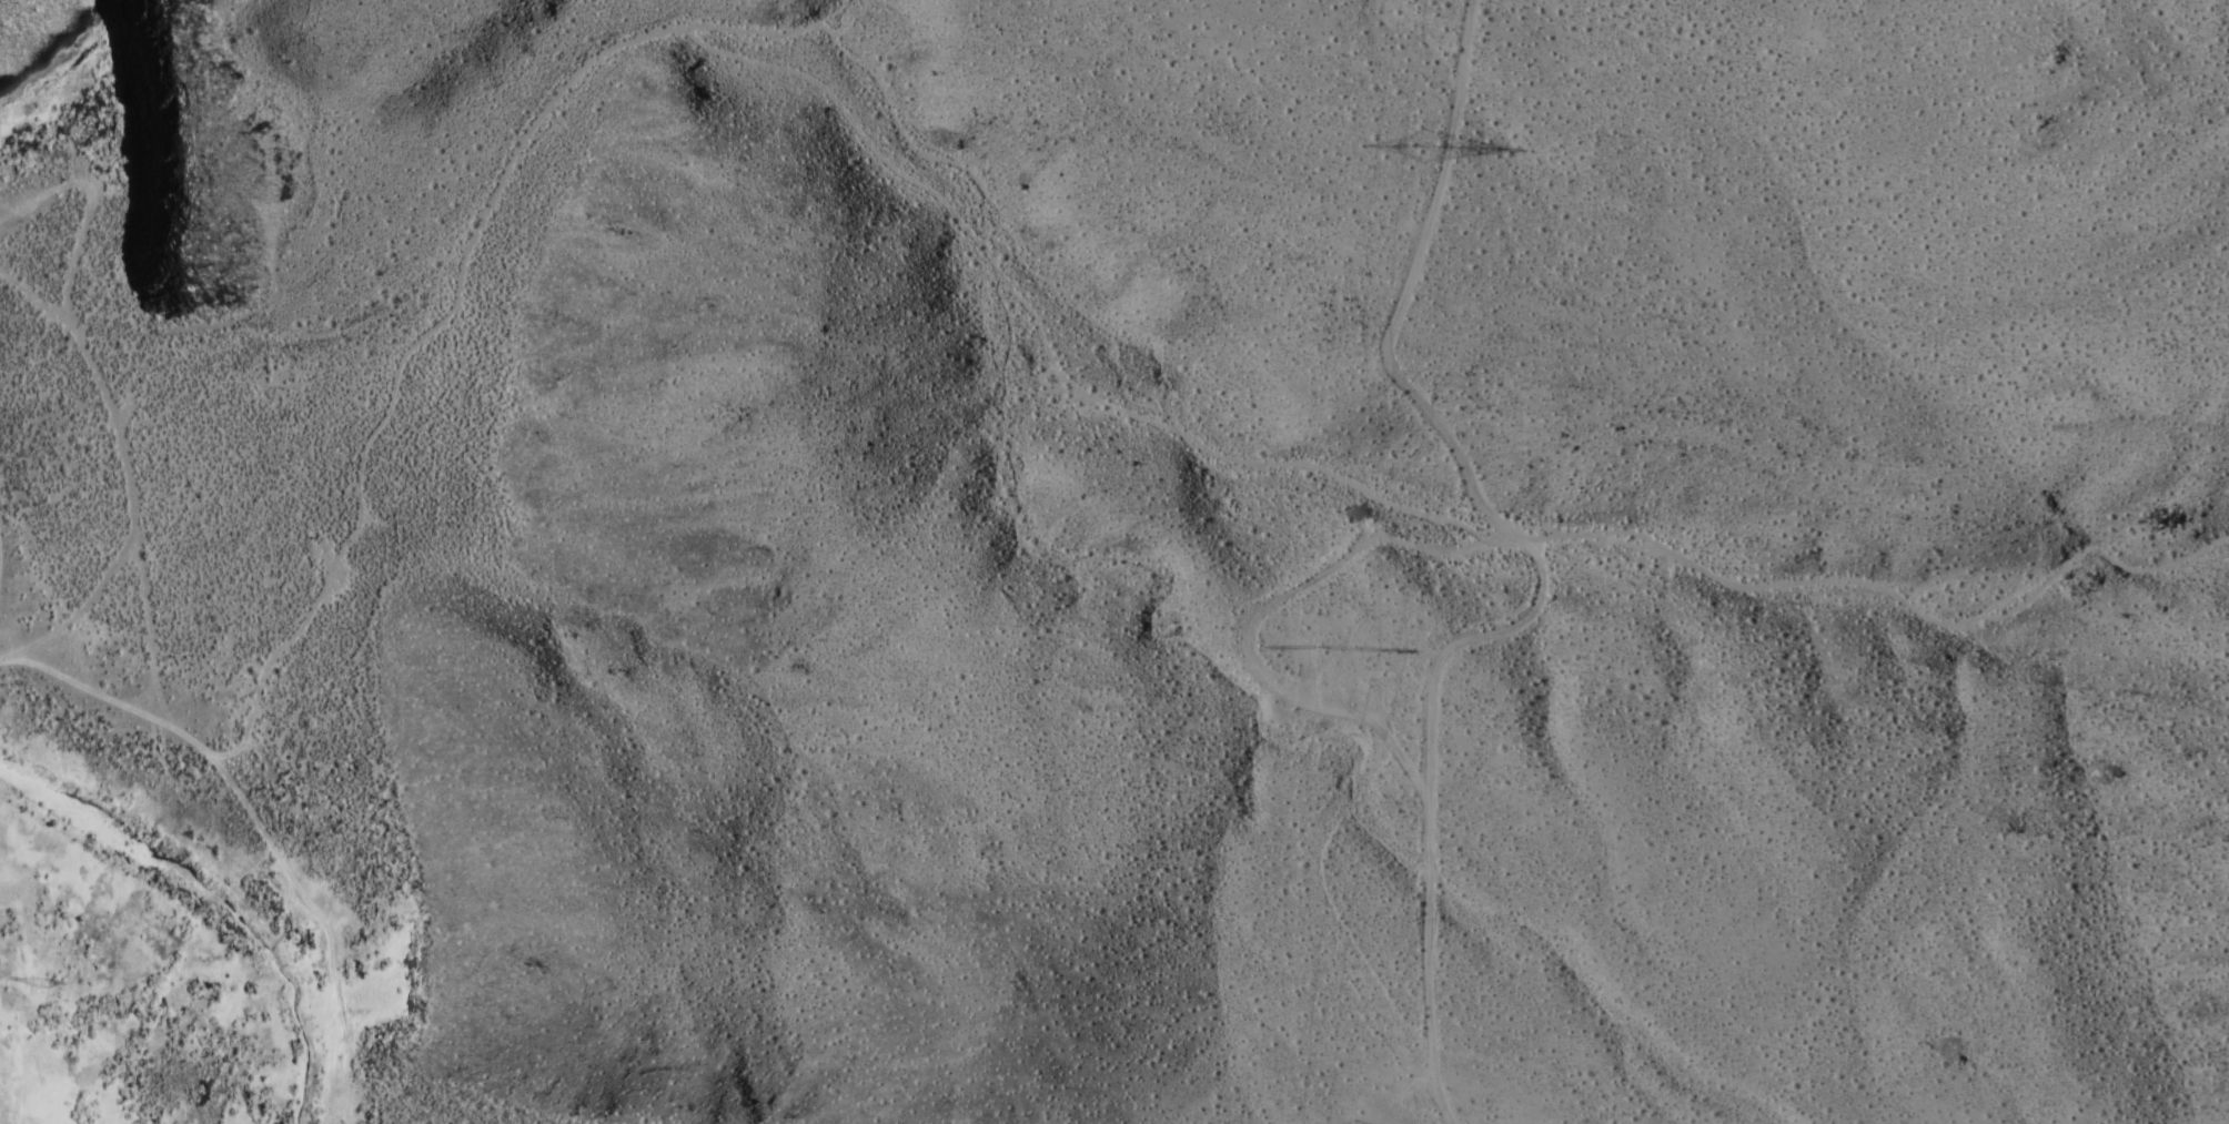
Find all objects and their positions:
power tower: (1420, 152)
road: (1534, 565)
power tower: (1318, 645)
power tower: (38, 985)

